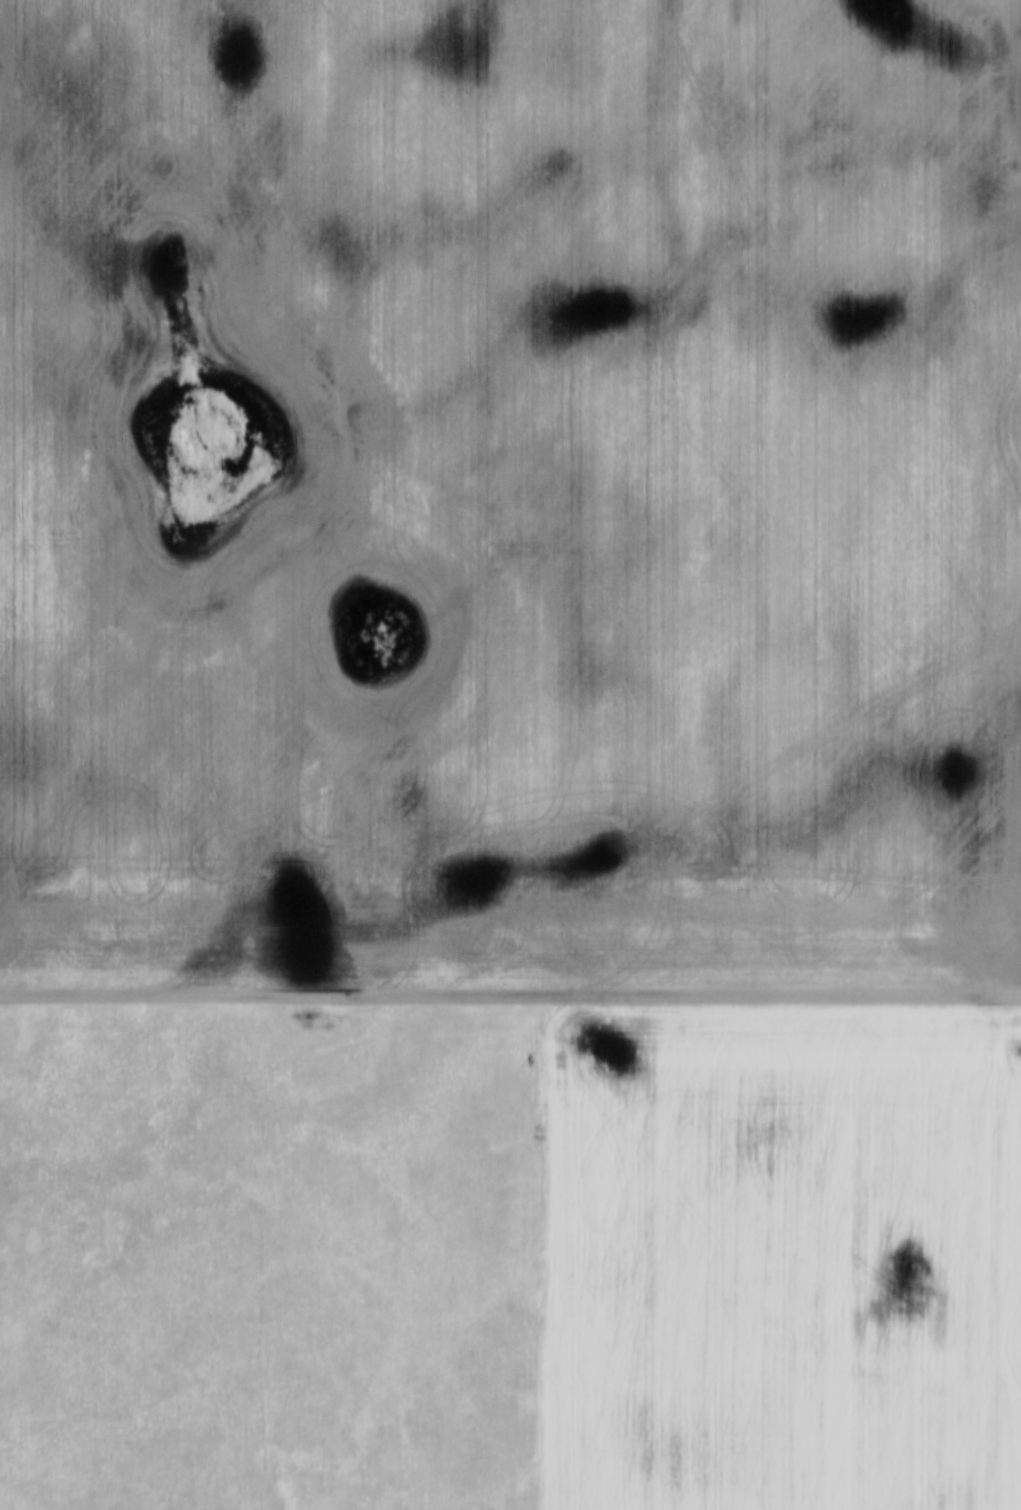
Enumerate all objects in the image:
road: (510, 992)

